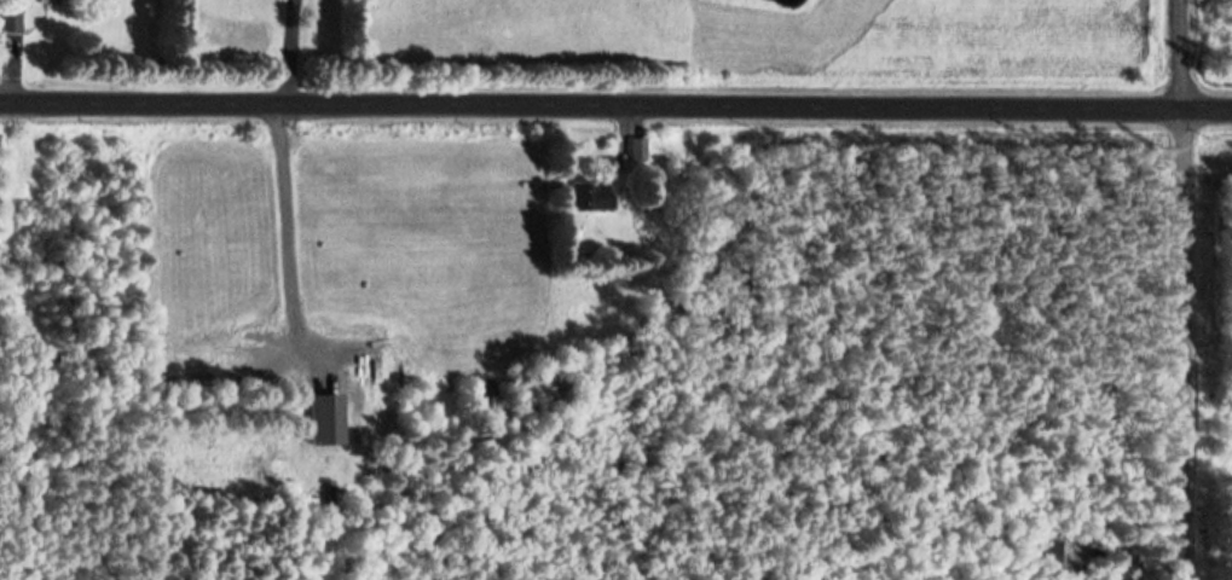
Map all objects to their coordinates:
building: (15, 21)
road: (615, 104)
building: (590, 197)
road: (1190, 289)
building: (326, 418)

